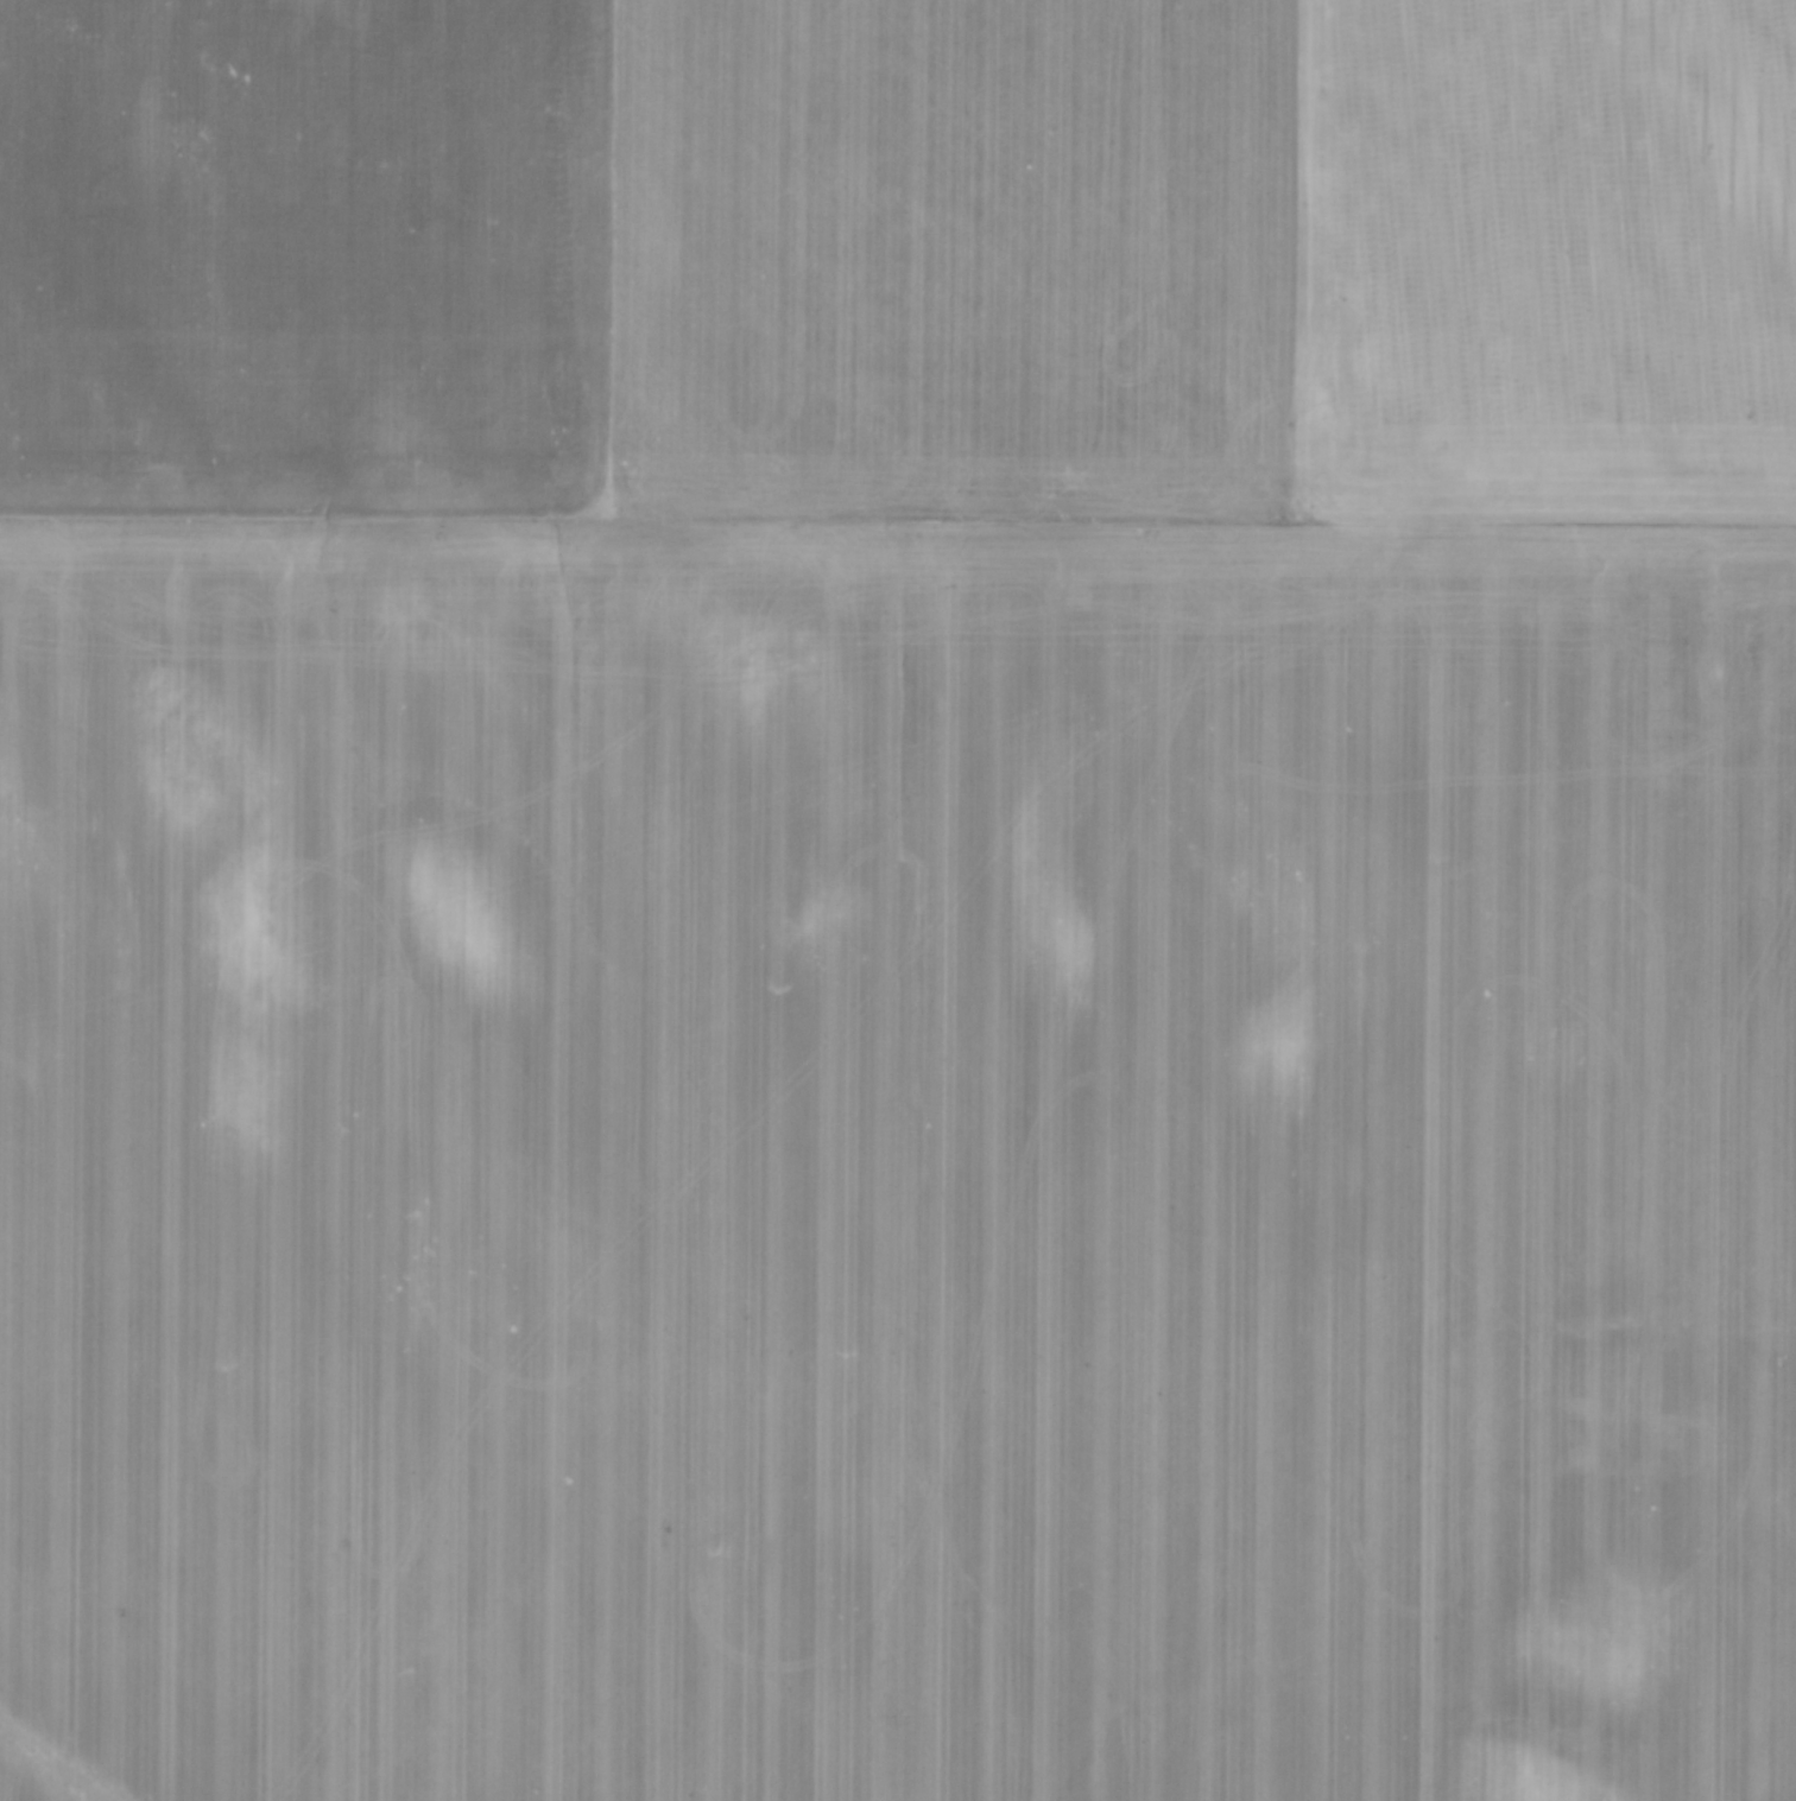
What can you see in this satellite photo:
crop: (898, 900)

